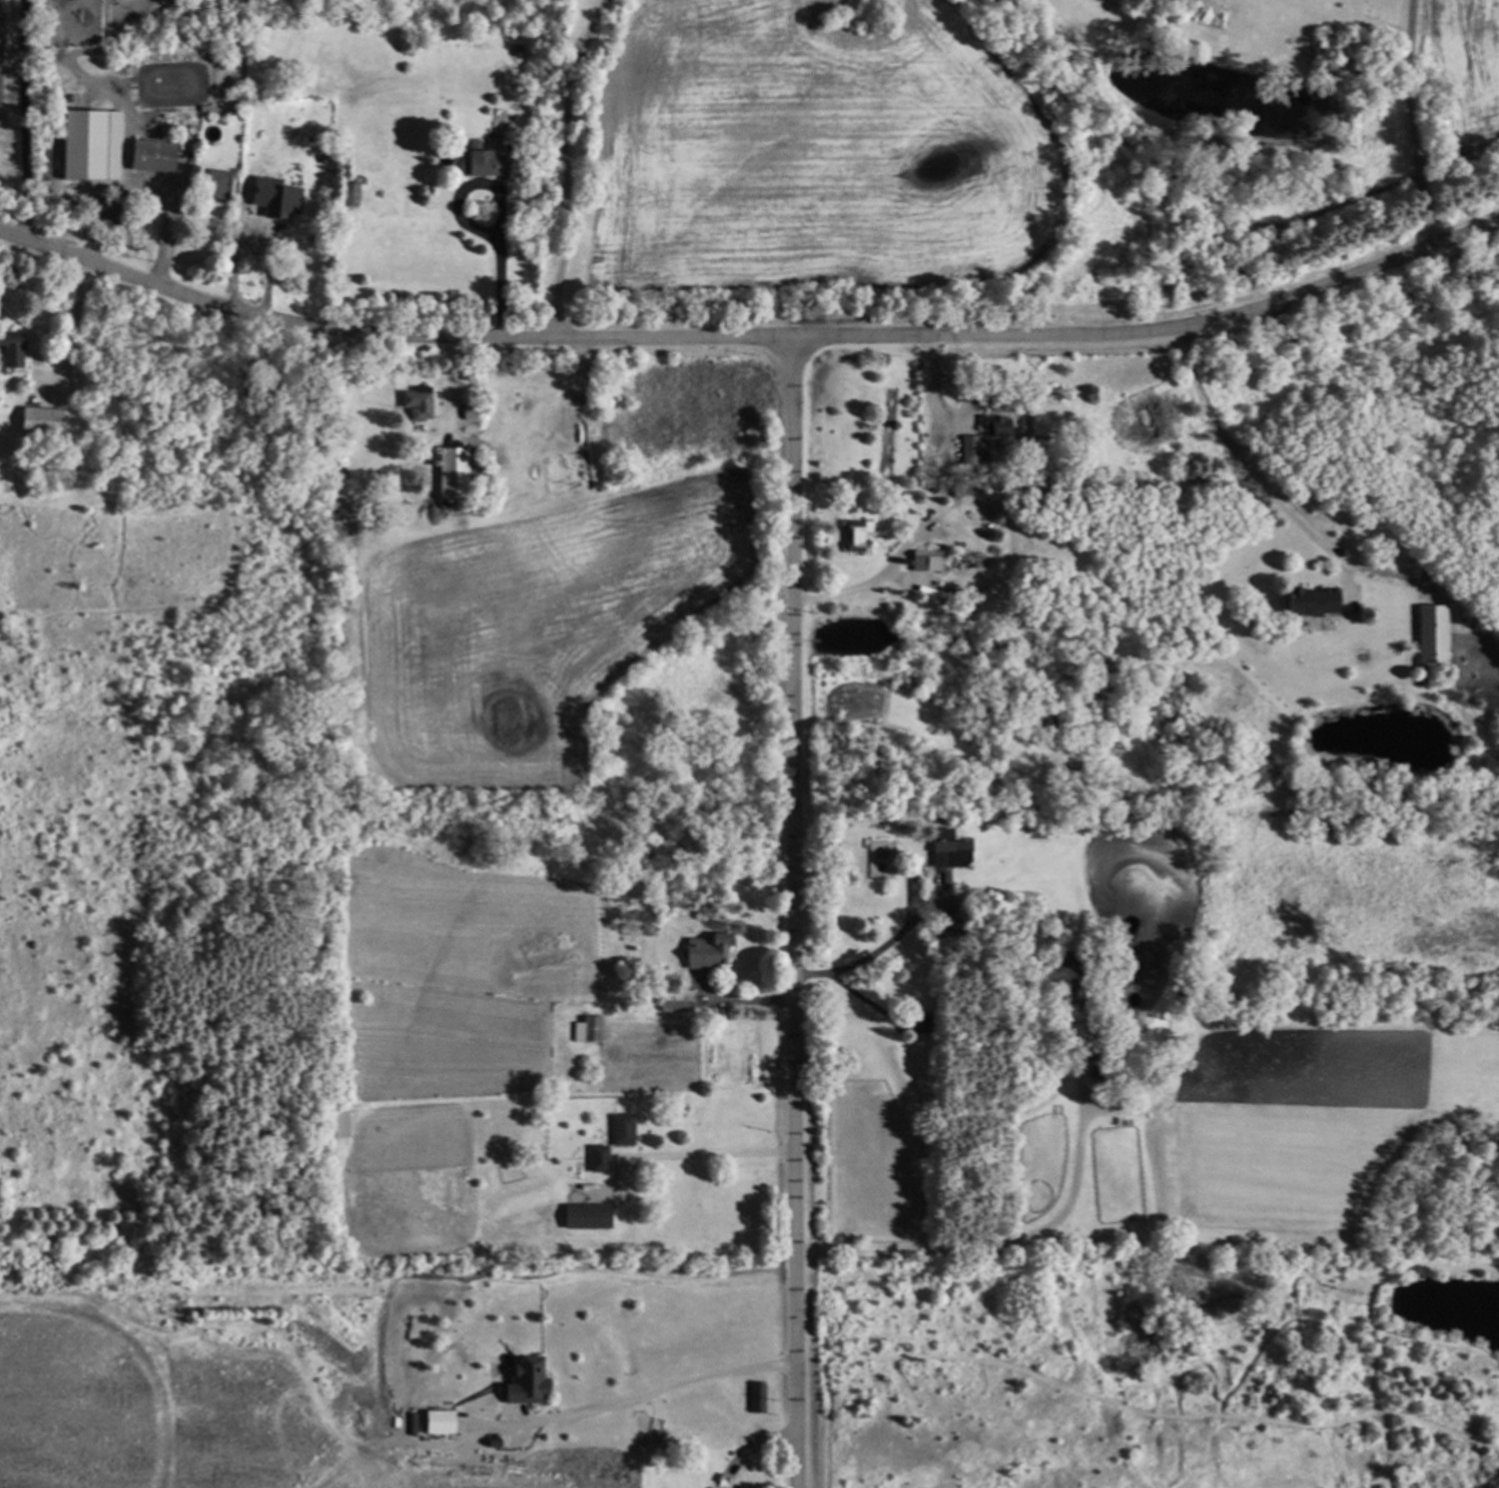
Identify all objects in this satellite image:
road: (26, 118)
road: (1421, 120)
building: (88, 146)
building: (148, 157)
building: (472, 161)
road: (564, 166)
building: (214, 184)
building: (347, 195)
building: (272, 198)
road: (162, 234)
road: (499, 270)
road: (66, 315)
road: (750, 340)
building: (7, 352)
building: (414, 404)
building: (37, 422)
building: (995, 426)
building: (971, 452)
road: (1244, 461)
building: (447, 475)
building: (853, 535)
road: (866, 583)
building: (1306, 601)
building: (1431, 634)
building: (946, 852)
road: (789, 913)
building: (704, 951)
road: (873, 954)
building: (674, 1001)
building: (586, 1029)
building: (620, 1130)
road: (689, 1155)
building: (596, 1159)
building: (583, 1216)
building: (523, 1382)
road: (661, 1392)
building: (755, 1397)
building: (435, 1422)
road: (746, 1449)

